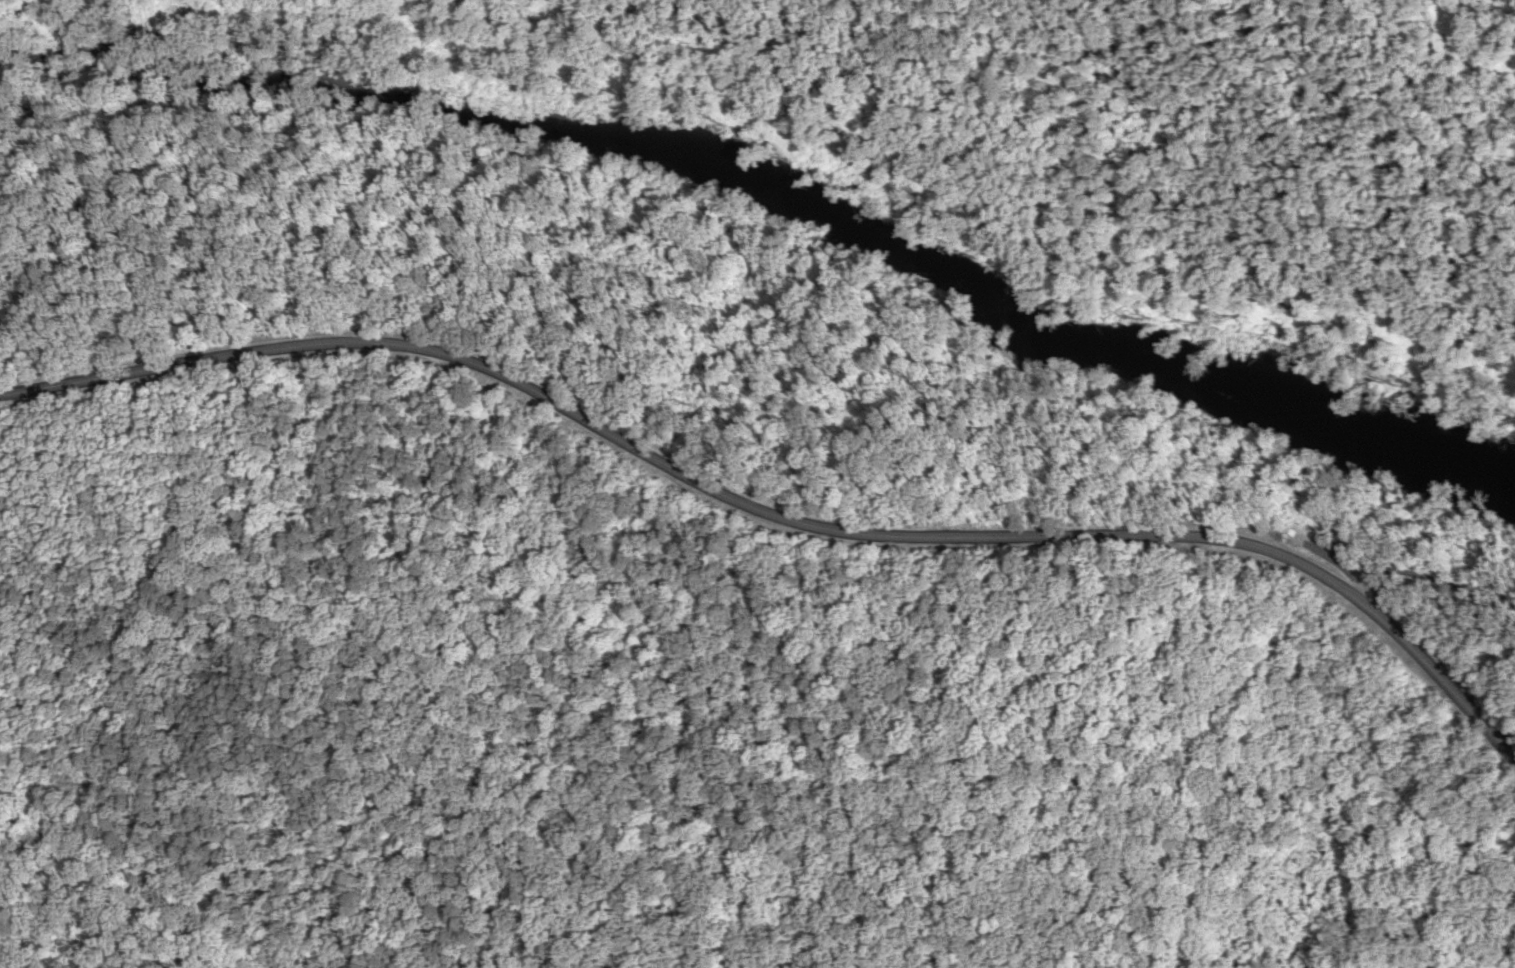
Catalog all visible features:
road: (778, 514)
road: (1198, 751)

